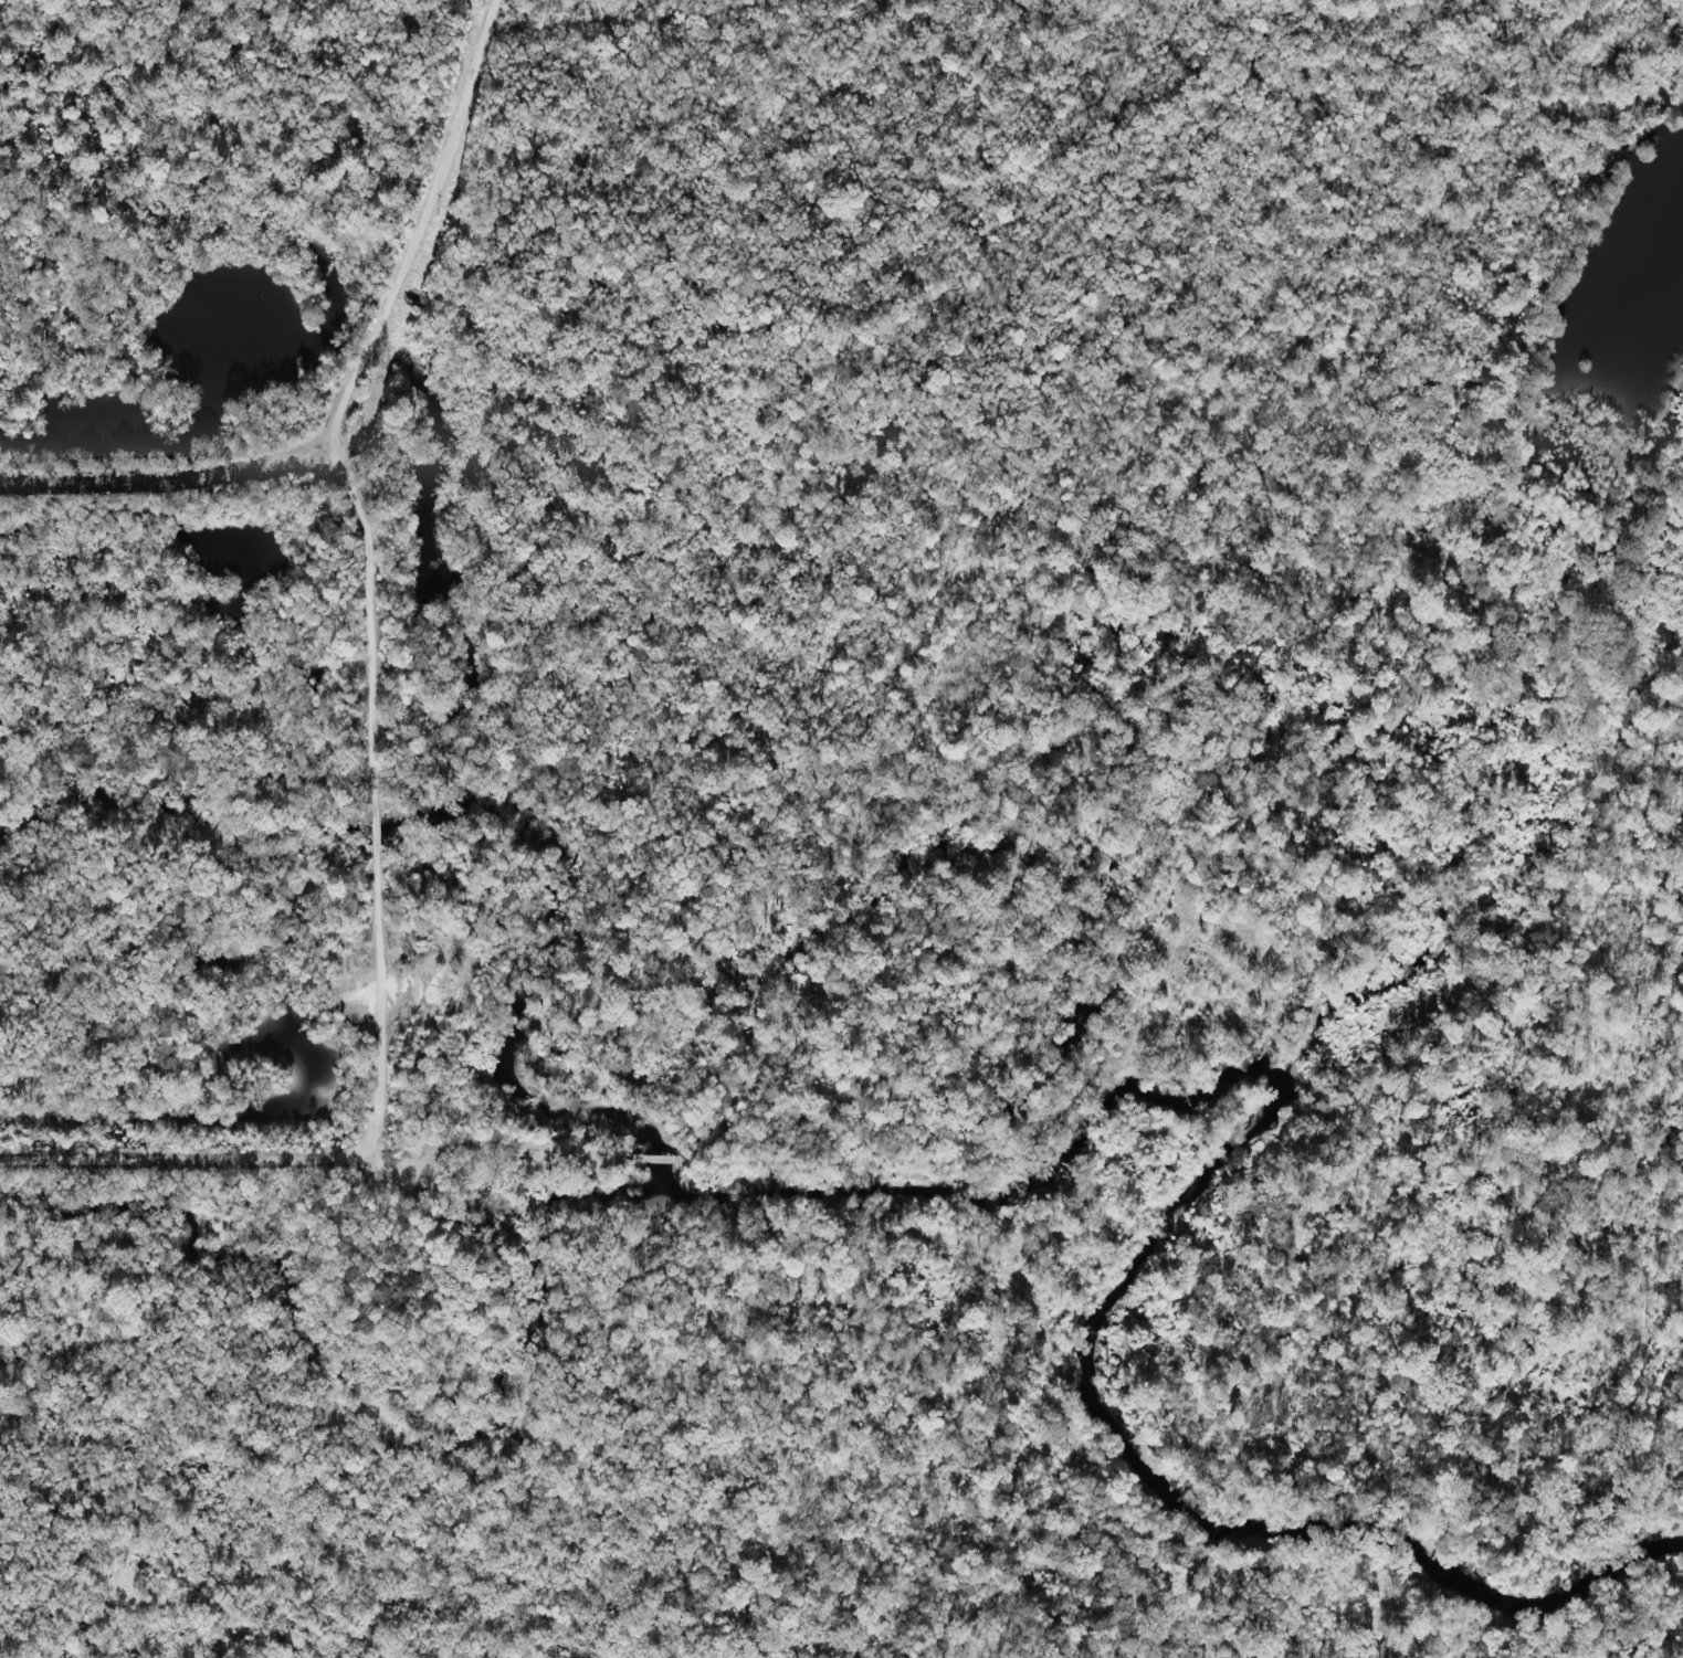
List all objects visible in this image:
road: (171, 476)
road: (346, 540)
road: (196, 1160)

